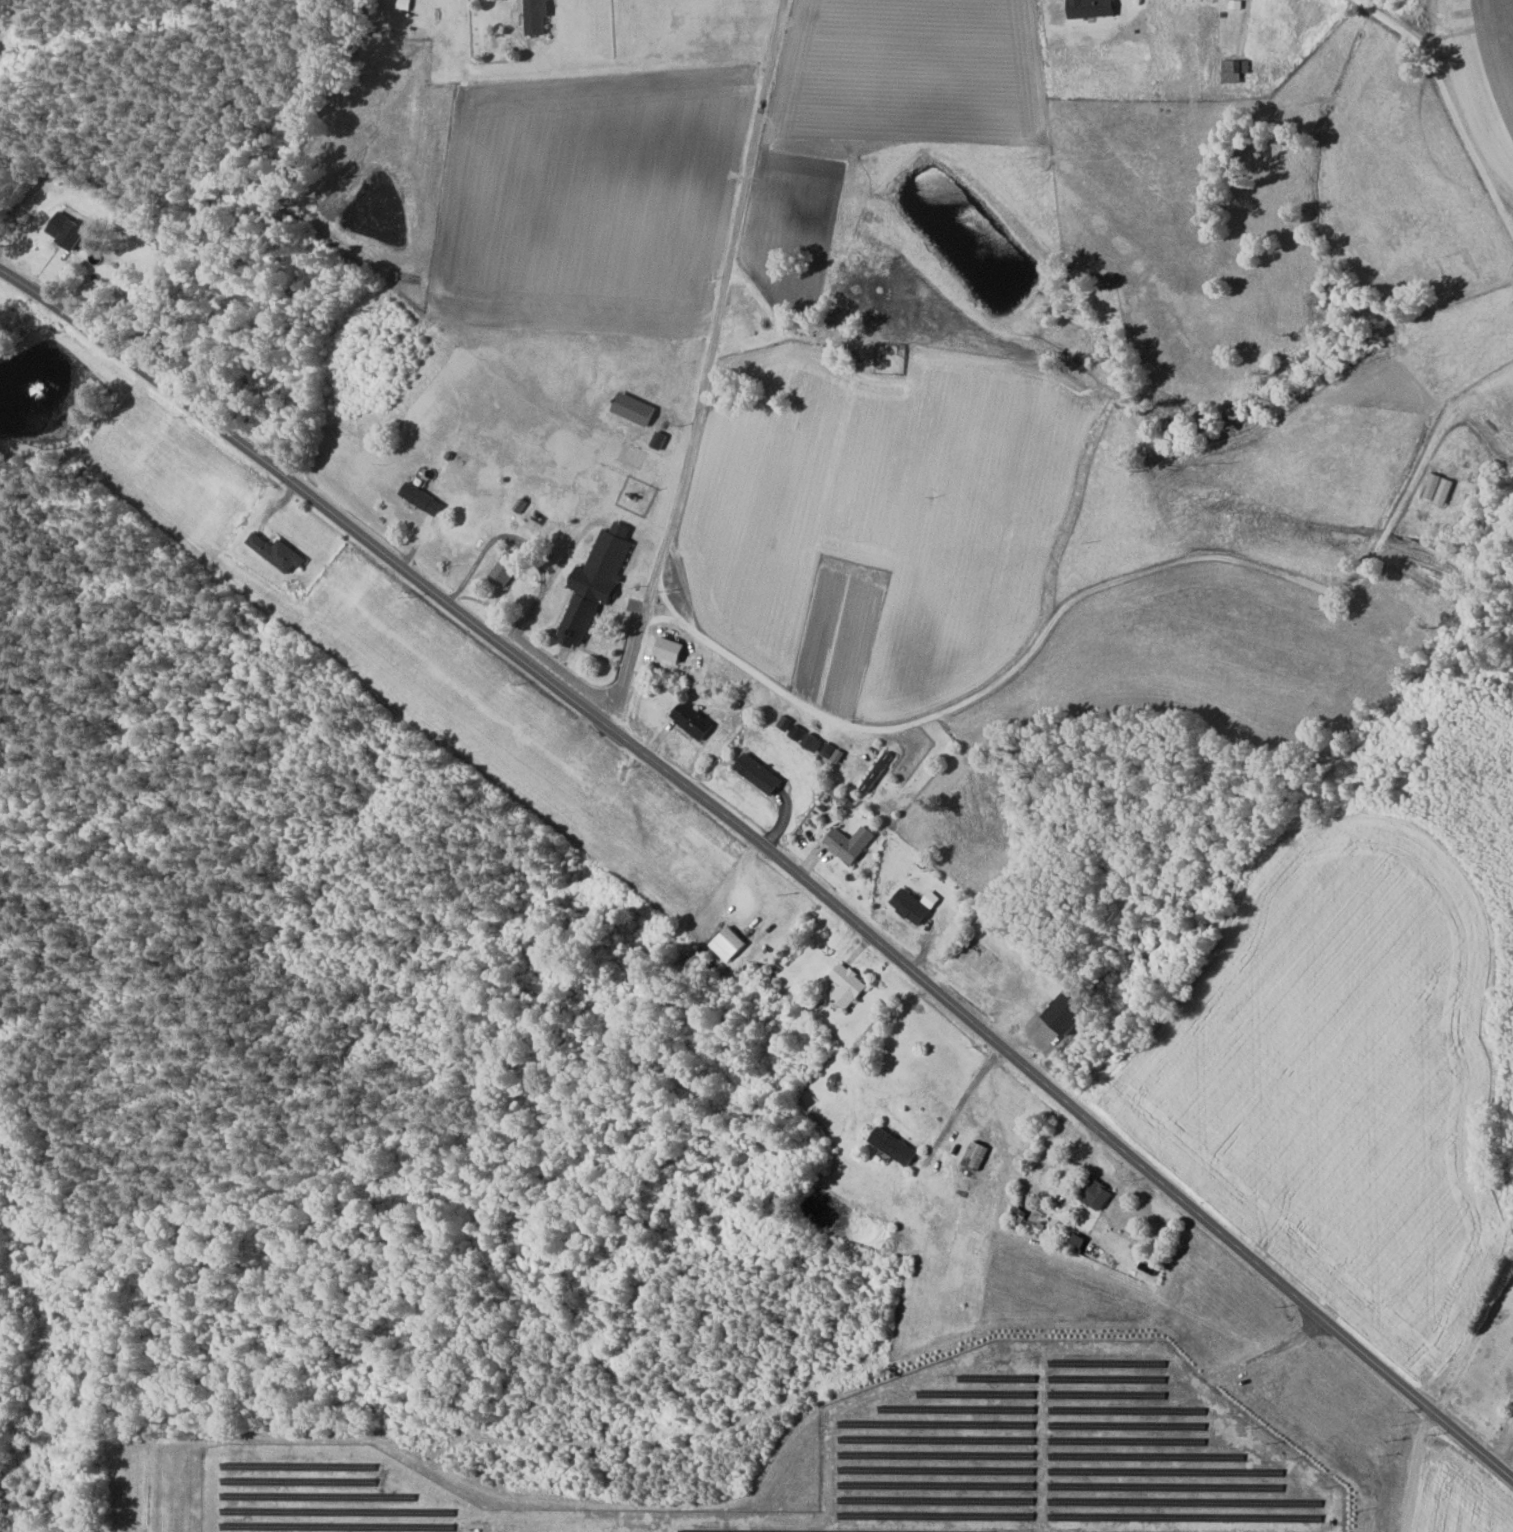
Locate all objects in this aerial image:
building: (1092, 8)
building: (537, 16)
building: (1234, 70)
road: (1449, 105)
building: (67, 229)
road: (708, 366)
building: (635, 409)
building: (1439, 488)
building: (423, 499)
road: (525, 546)
building: (277, 552)
building: (506, 568)
building: (597, 581)
road: (678, 617)
building: (671, 649)
road: (779, 689)
building: (693, 720)
building: (813, 742)
building: (759, 774)
building: (850, 843)
road: (771, 858)
building: (914, 905)
building: (729, 944)
building: (846, 986)
building: (1071, 1009)
building: (895, 1146)
building: (976, 1155)
building: (1095, 1194)
building: (1078, 1243)
road: (1468, 1356)
road: (1505, 1451)
solar farm: (889, 1461)
road: (1417, 1472)

